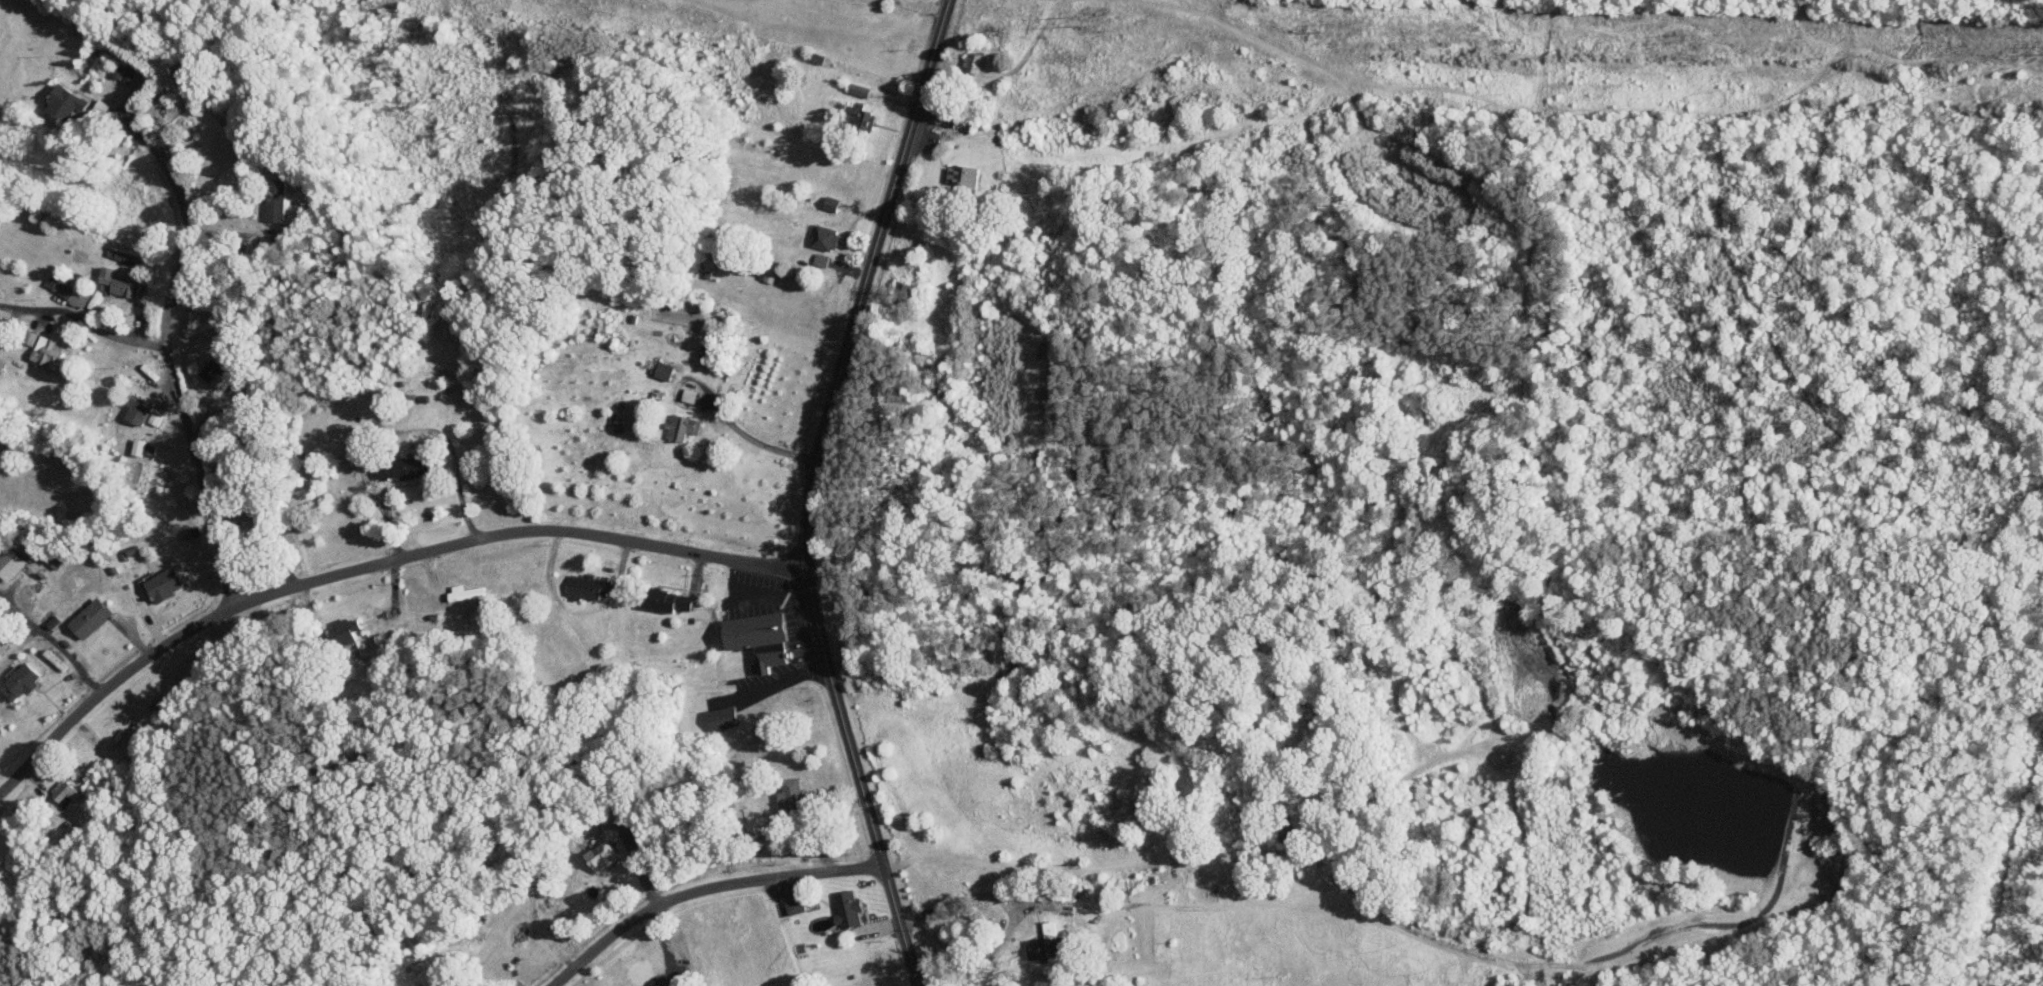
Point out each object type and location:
power tower: (1074, 20)
power tower: (1336, 25)
power tower: (1683, 37)
building: (185, 70)
building: (859, 89)
building: (64, 102)
building: (857, 115)
building: (963, 175)
building: (275, 199)
building: (832, 203)
road: (186, 218)
building: (826, 238)
building: (126, 257)
building: (119, 283)
building: (75, 292)
road: (1061, 303)
road: (84, 321)
building: (29, 337)
building: (47, 354)
building: (664, 370)
building: (688, 395)
building: (135, 411)
building: (680, 426)
road: (391, 430)
road: (753, 438)
building: (141, 448)
building: (402, 468)
road: (199, 477)
road: (808, 490)
building: (10, 563)
road: (369, 566)
building: (162, 584)
building: (587, 586)
building: (668, 600)
building: (89, 618)
building: (343, 630)
building: (759, 638)
road: (50, 639)
building: (20, 682)
road: (27, 708)
building: (722, 717)
building: (64, 792)
building: (790, 794)
building: (1290, 828)
building: (604, 856)
road: (702, 887)
building: (793, 902)
building: (848, 909)
road: (1011, 912)

